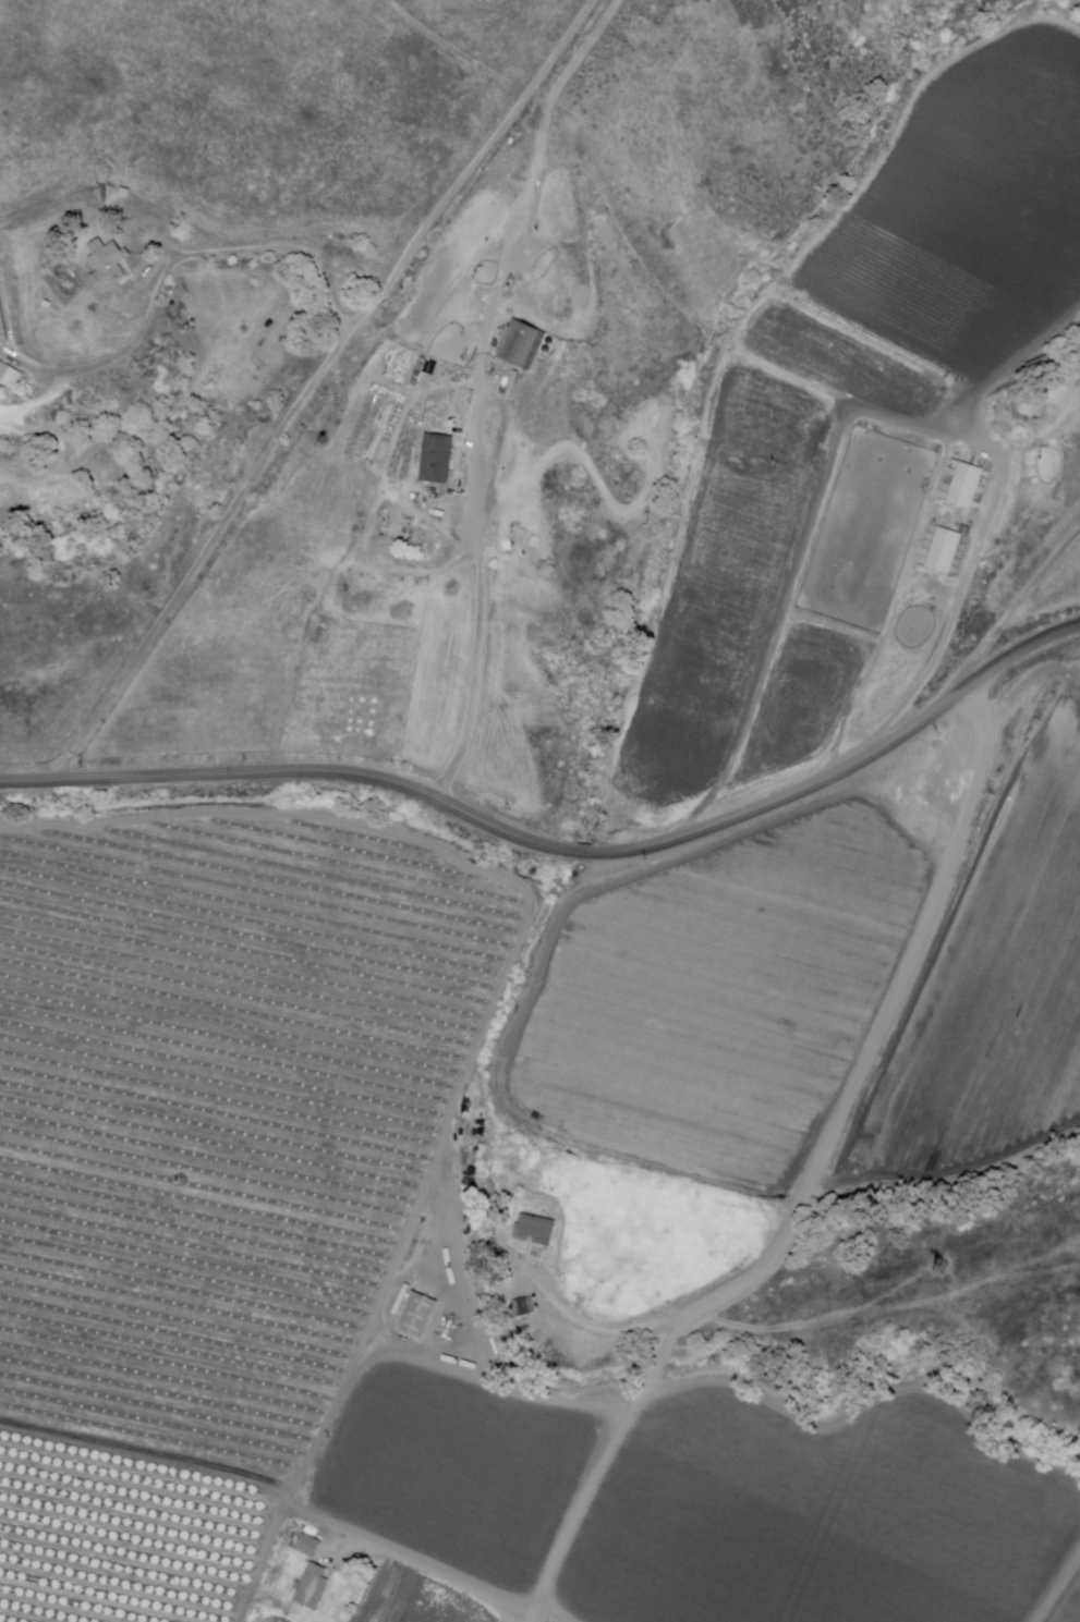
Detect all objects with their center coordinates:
road: (174, 260)
building: (107, 265)
building: (2, 330)
building: (523, 345)
building: (9, 376)
road: (313, 385)
crop: (855, 403)
building: (438, 461)
building: (967, 486)
building: (945, 550)
road: (483, 556)
building: (525, 572)
road: (966, 586)
road: (1005, 619)
road: (1014, 655)
road: (292, 773)
road: (782, 796)
road: (582, 853)
road: (498, 985)
crop: (991, 988)
crop: (718, 993)
road: (848, 1102)
crop: (218, 1114)
building: (535, 1228)
crop: (646, 1233)
power tower: (948, 1269)
building: (524, 1308)
building: (417, 1309)
road: (365, 1365)
road: (864, 1416)
crop: (459, 1469)
road: (293, 1497)
road: (586, 1505)
crop: (817, 1517)
building: (306, 1544)
road: (428, 1570)
road: (1051, 1577)
building: (311, 1585)
crop: (1067, 1602)

